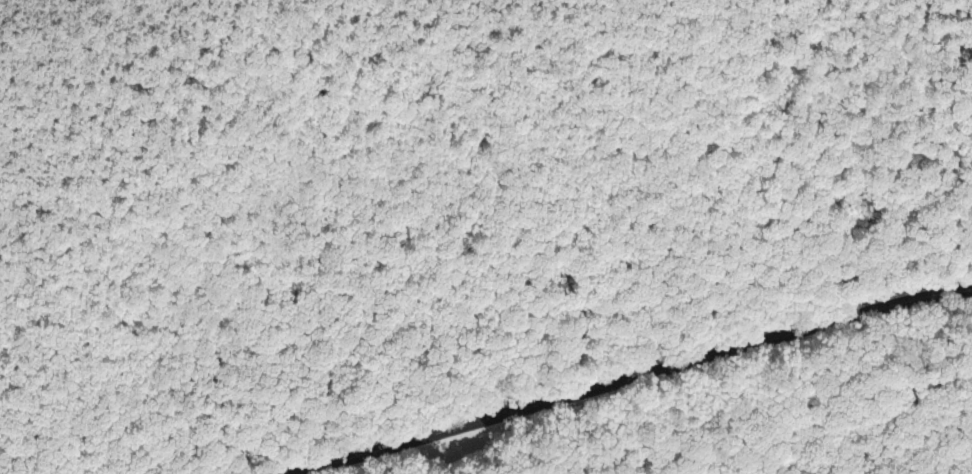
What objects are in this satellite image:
road: (486, 309)
road: (630, 378)

